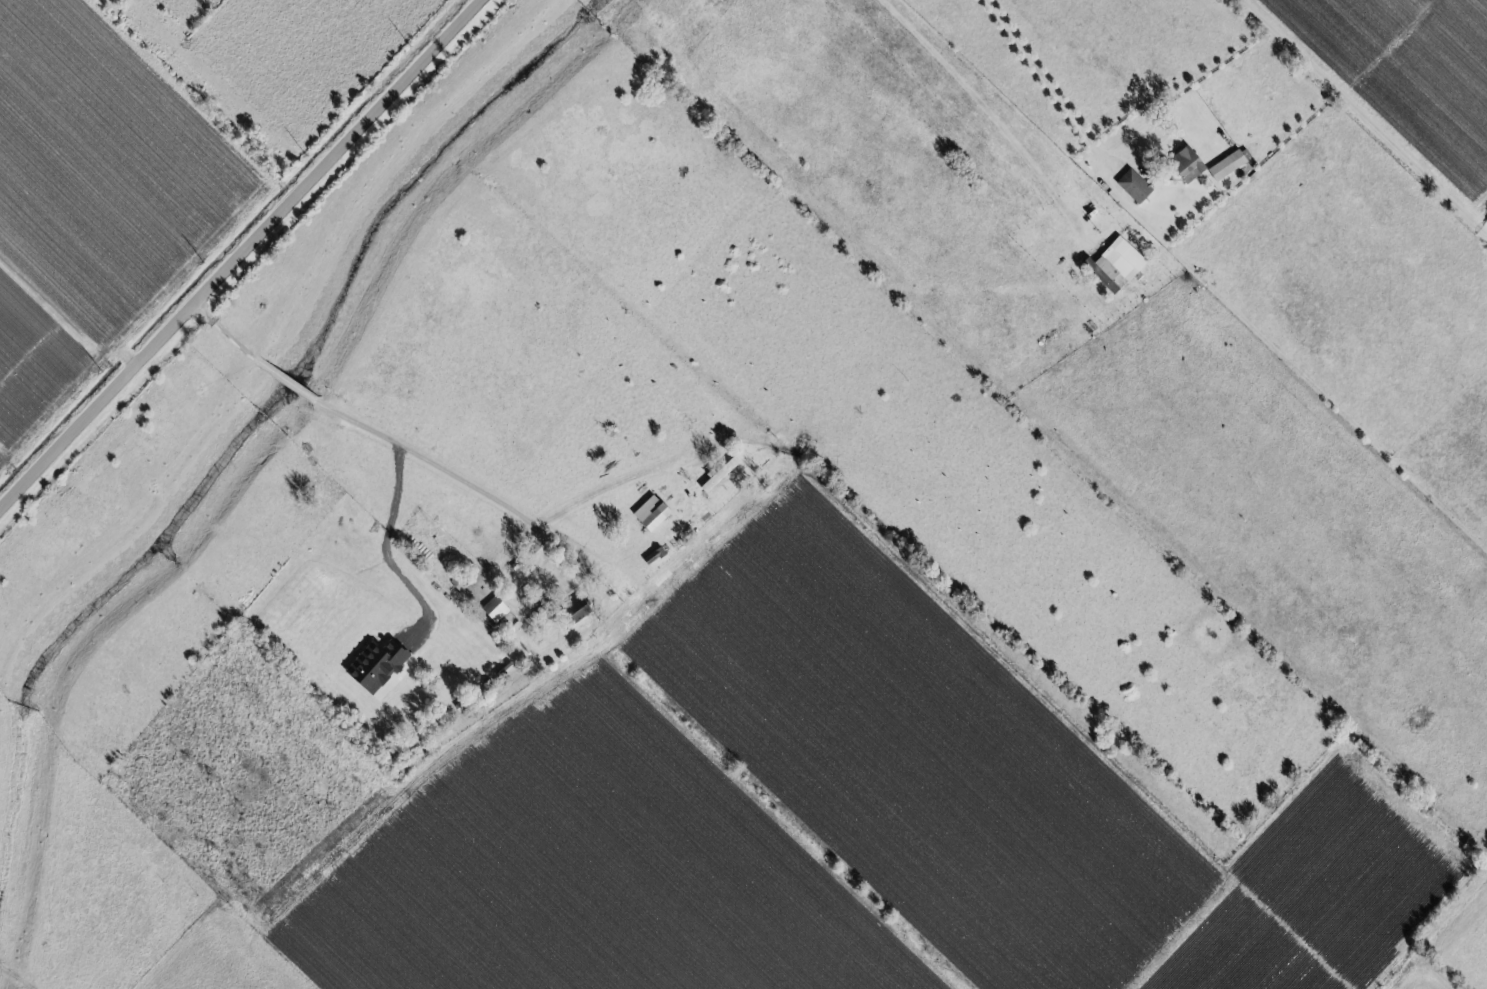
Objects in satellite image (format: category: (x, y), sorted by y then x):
road: (1056, 88)
road: (984, 115)
road: (1366, 115)
building: (1184, 164)
building: (1227, 164)
building: (1132, 186)
road: (241, 254)
building: (1115, 263)
road: (423, 462)
building: (716, 475)
building: (648, 513)
road: (387, 553)
building: (492, 610)
building: (573, 611)
building: (372, 666)

